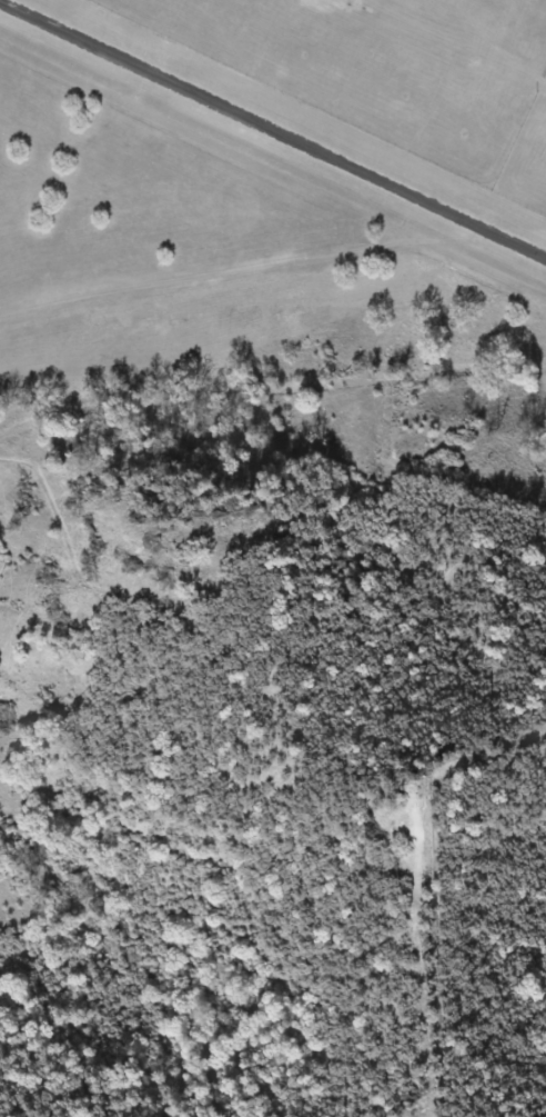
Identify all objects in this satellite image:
airport runway: (275, 126)
road: (252, 266)

